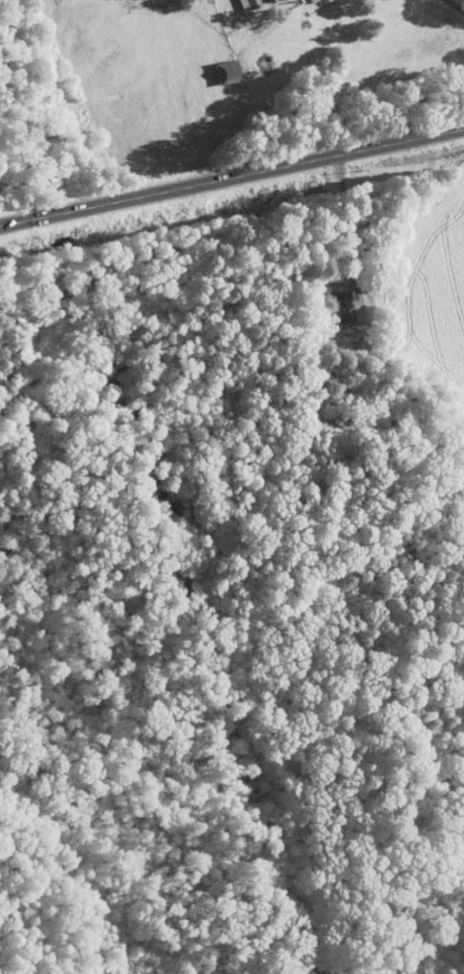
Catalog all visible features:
building: (270, 0)
building: (247, 4)
road: (452, 5)
building: (224, 71)
road: (232, 176)
road: (347, 233)
building: (342, 309)

